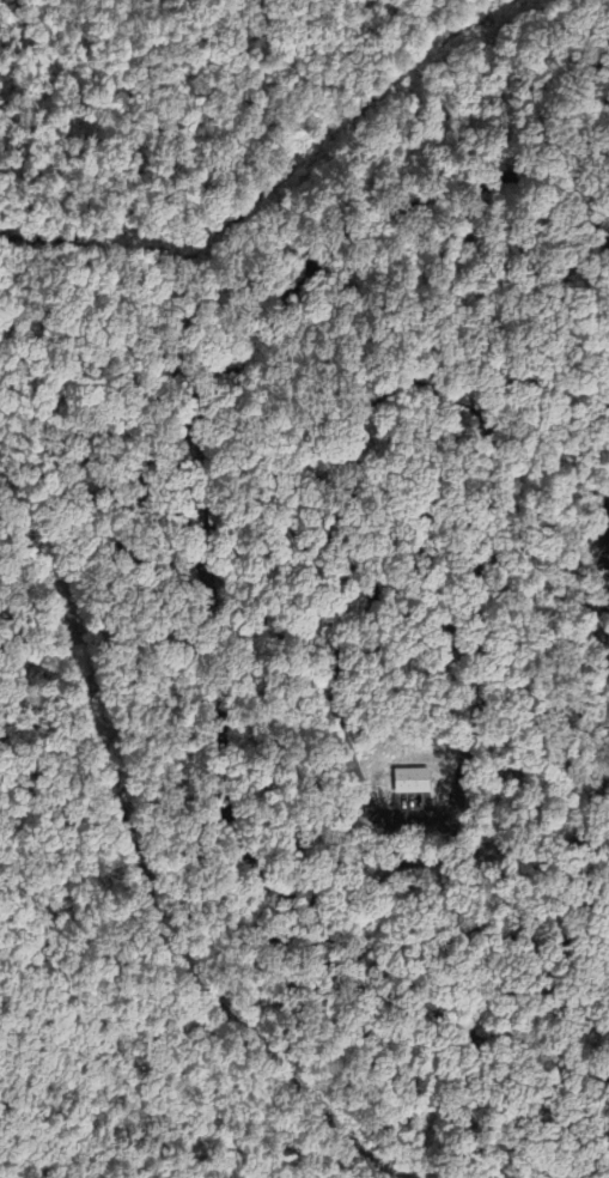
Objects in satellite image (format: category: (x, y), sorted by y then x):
road: (480, 241)
road: (573, 281)
road: (584, 334)
building: (213, 515)
road: (605, 563)
road: (336, 579)
road: (206, 589)
park: (310, 602)
road: (577, 679)
road: (257, 737)
road: (529, 808)
building: (493, 854)
road: (514, 856)
road: (529, 869)
road: (528, 939)
road: (607, 952)
road: (607, 970)
road: (181, 1026)
road: (592, 1168)

